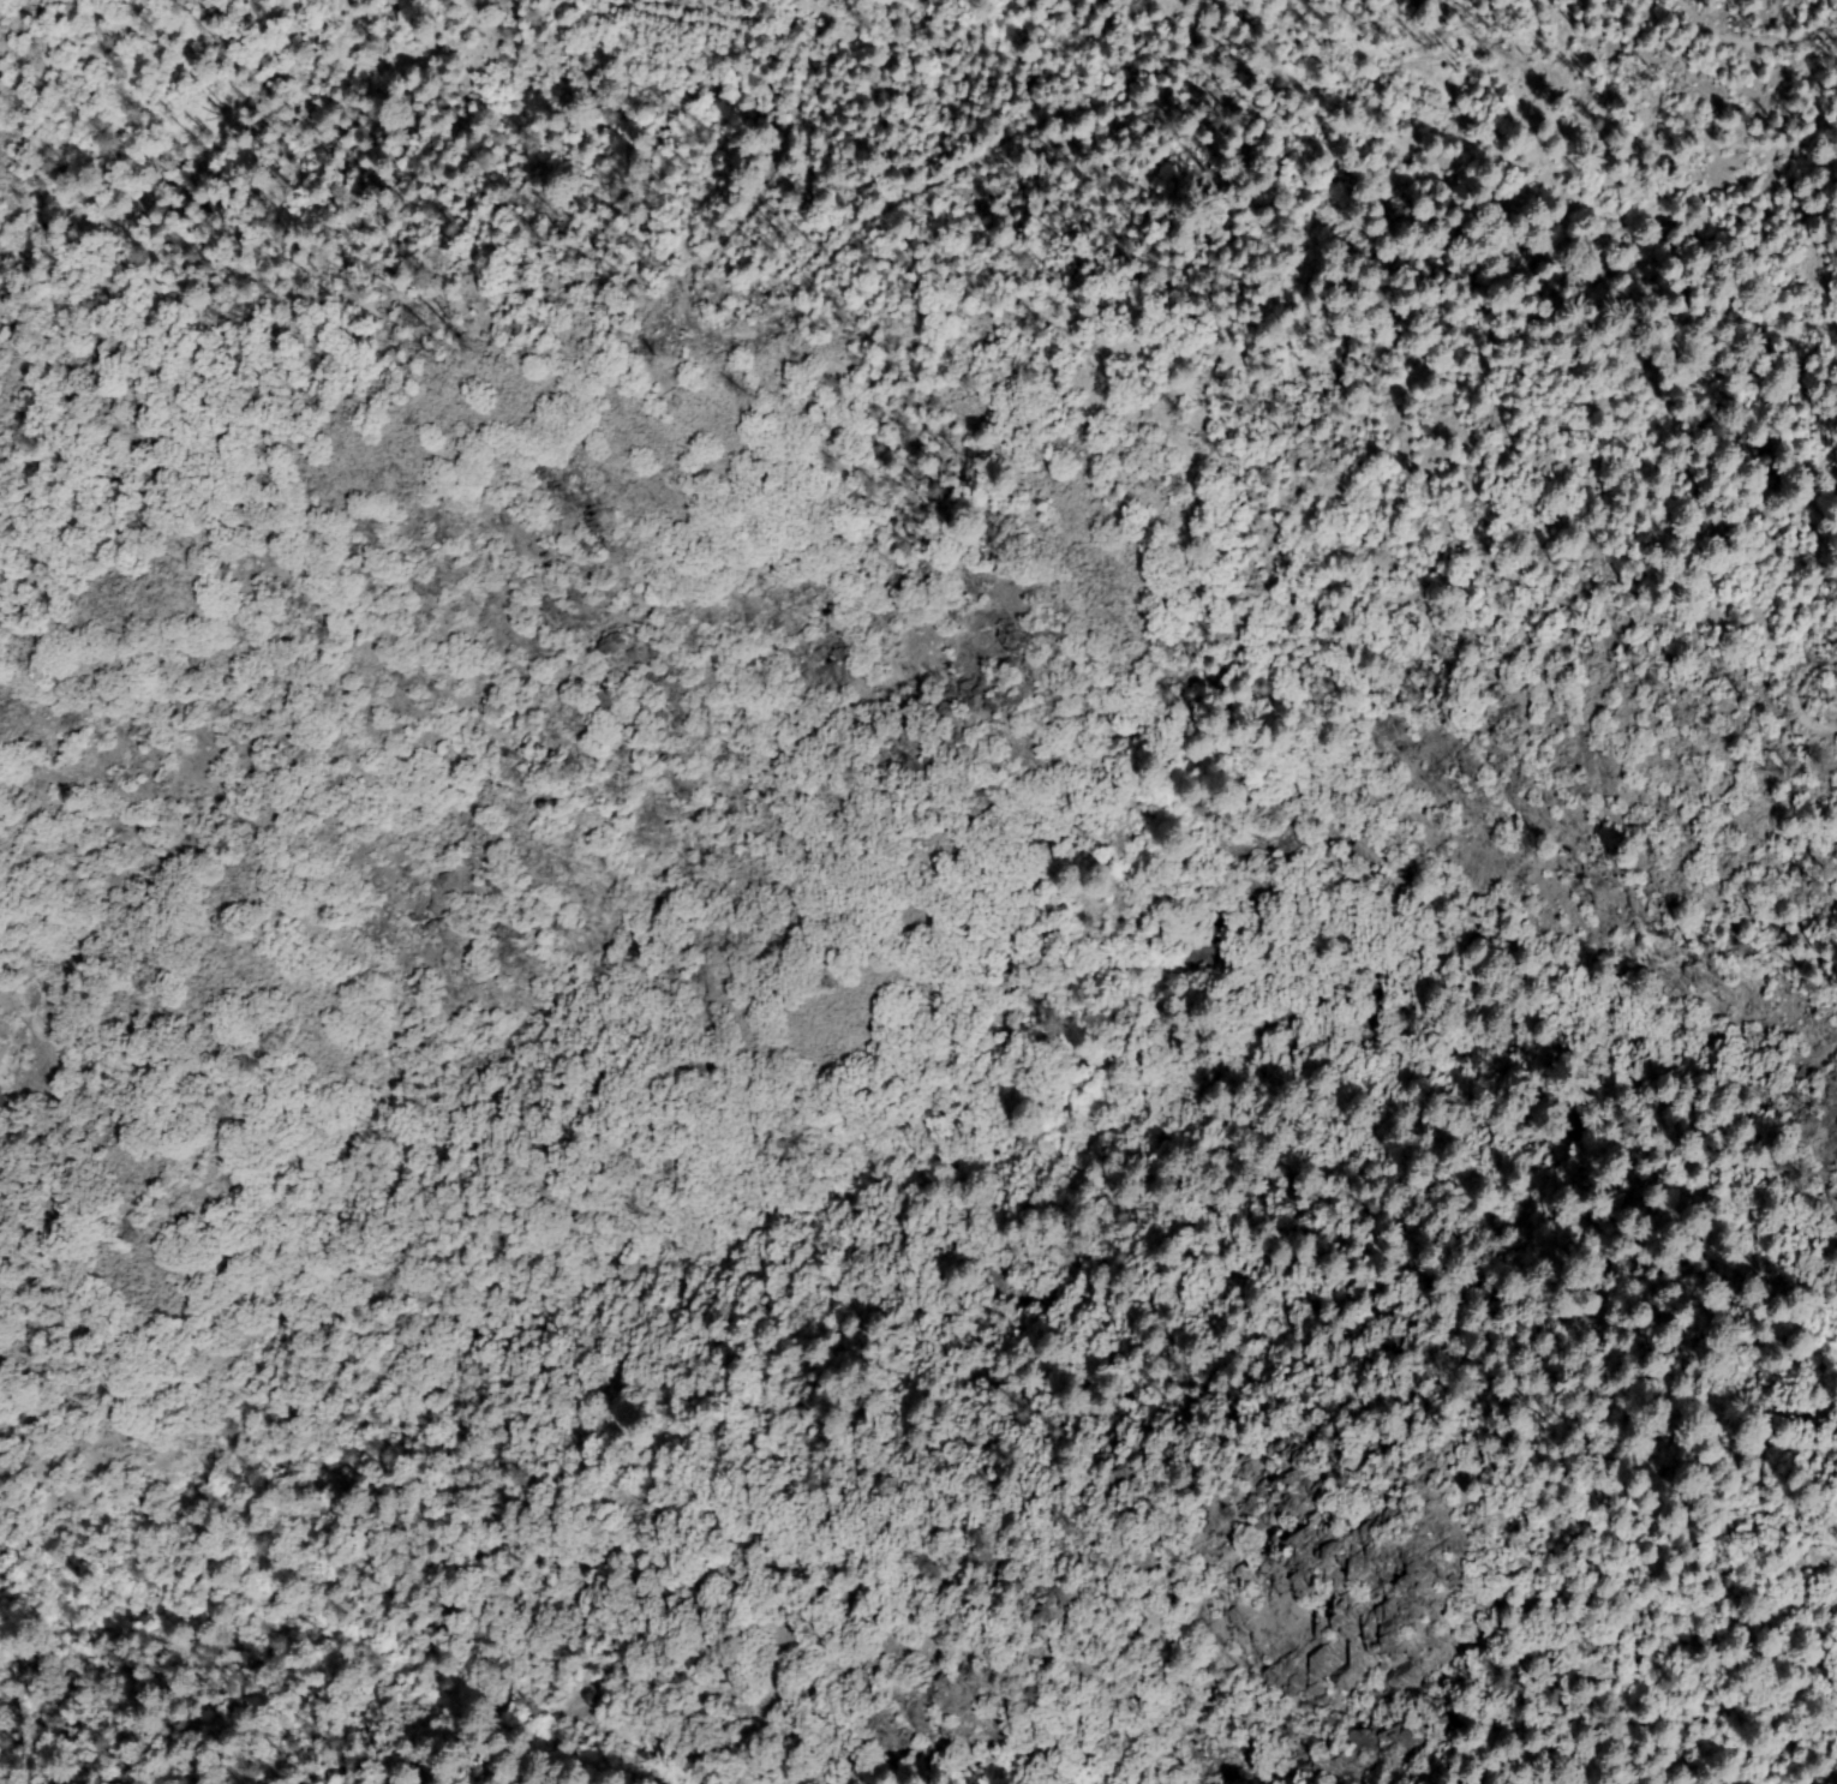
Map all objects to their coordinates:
road: (1755, 34)
road: (1789, 694)

